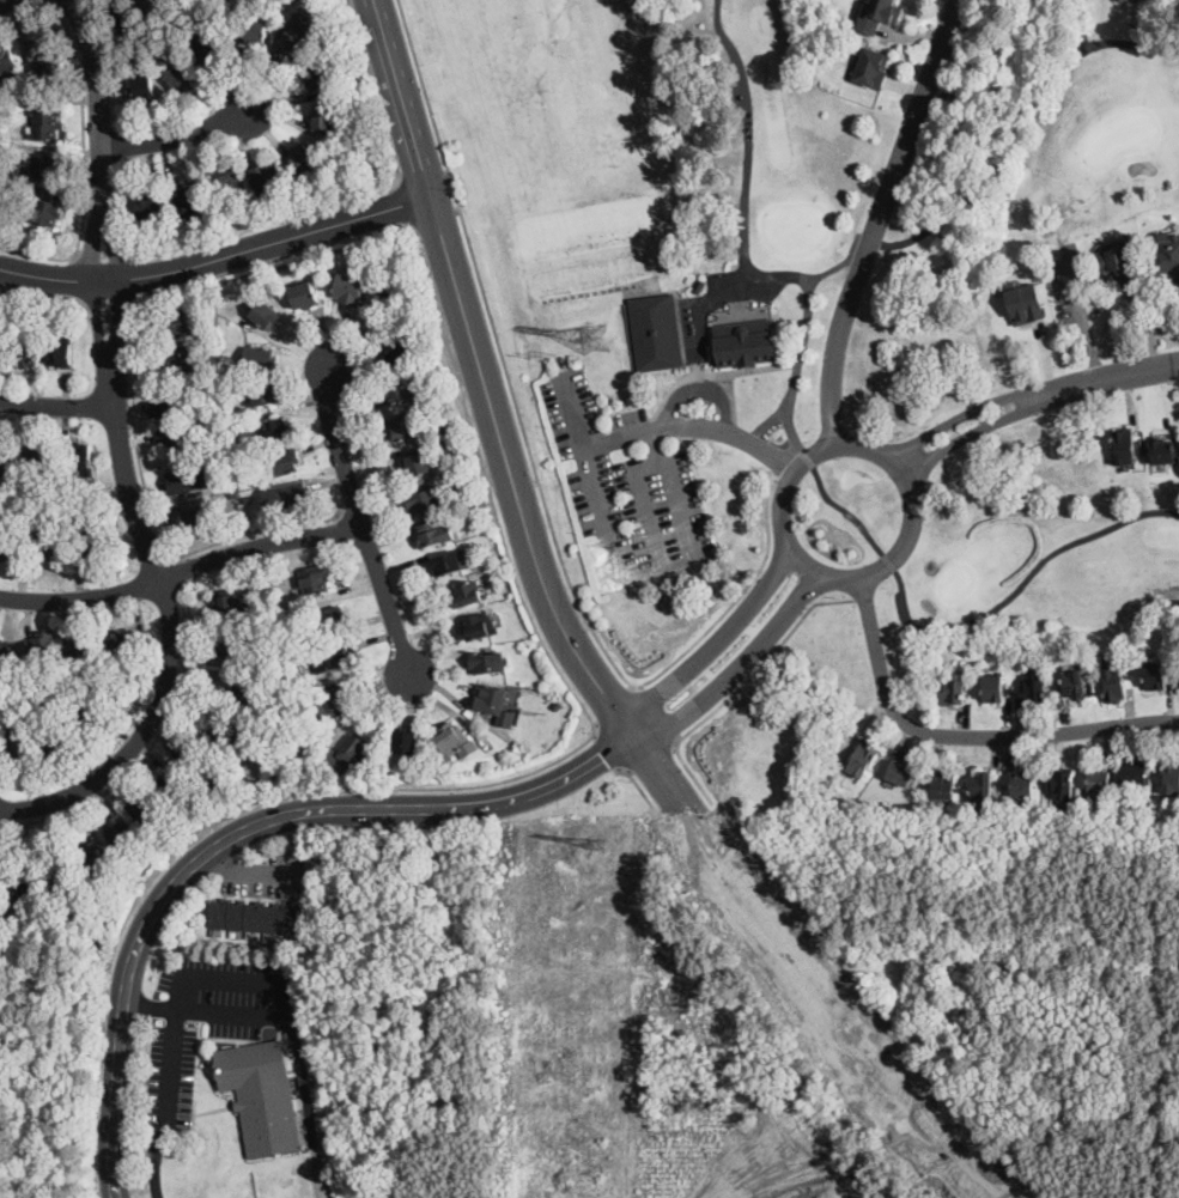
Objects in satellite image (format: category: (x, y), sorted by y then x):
road: (7, 2)
building: (154, 4)
building: (124, 12)
building: (879, 13)
building: (182, 22)
road: (1081, 24)
building: (297, 30)
building: (255, 32)
building: (39, 44)
building: (211, 49)
building: (141, 51)
building: (6, 56)
building: (873, 66)
building: (51, 68)
building: (181, 75)
building: (316, 77)
building: (144, 87)
road: (400, 97)
building: (324, 116)
building: (44, 124)
road: (176, 135)
road: (747, 136)
building: (306, 158)
road: (85, 164)
building: (37, 169)
building: (340, 170)
road: (1001, 170)
building: (266, 177)
building: (229, 178)
road: (350, 199)
road: (403, 202)
building: (193, 205)
building: (147, 206)
building: (43, 212)
road: (882, 219)
park: (863, 236)
building: (1165, 257)
road: (218, 259)
road: (103, 260)
building: (1117, 267)
road: (134, 276)
building: (348, 288)
building: (304, 294)
building: (391, 294)
building: (1023, 302)
building: (266, 315)
building: (172, 324)
building: (656, 333)
power tower: (596, 339)
building: (746, 343)
building: (24, 349)
building: (397, 349)
building: (60, 351)
road: (502, 351)
power tower: (540, 354)
building: (260, 358)
building: (171, 361)
building: (400, 389)
road: (701, 390)
building: (265, 394)
road: (1033, 399)
building: (171, 402)
road: (55, 406)
building: (445, 425)
building: (405, 426)
building: (275, 430)
road: (733, 433)
building: (178, 434)
road: (622, 436)
building: (1124, 448)
building: (1162, 451)
road: (121, 455)
building: (6, 456)
building: (41, 457)
building: (79, 457)
building: (281, 462)
building: (215, 463)
building: (415, 463)
building: (187, 478)
road: (595, 482)
road: (487, 486)
building: (30, 488)
parking lot: (627, 488)
building: (233, 493)
building: (284, 494)
road: (673, 495)
building: (464, 497)
building: (248, 499)
building: (424, 499)
road: (650, 506)
road: (521, 517)
building: (192, 518)
road: (154, 519)
road: (361, 523)
building: (433, 533)
road: (911, 536)
building: (92, 539)
building: (47, 542)
building: (11, 546)
building: (446, 562)
road: (889, 562)
road: (176, 572)
road: (182, 572)
building: (315, 579)
building: (468, 594)
road: (736, 597)
building: (230, 603)
building: (272, 613)
building: (330, 618)
building: (478, 626)
road: (716, 639)
building: (121, 641)
building: (231, 644)
building: (41, 646)
building: (271, 646)
building: (83, 649)
building: (5, 656)
building: (330, 658)
building: (487, 661)
road: (739, 662)
road: (756, 668)
building: (297, 669)
building: (1155, 675)
building: (1075, 683)
building: (1114, 683)
building: (992, 687)
building: (954, 688)
building: (1033, 688)
building: (243, 691)
building: (330, 701)
building: (496, 704)
building: (557, 706)
road: (616, 709)
power tower: (541, 713)
road: (655, 714)
building: (89, 720)
road: (964, 737)
building: (242, 738)
building: (406, 740)
building: (455, 740)
building: (17, 743)
building: (51, 743)
road: (147, 750)
road: (607, 753)
building: (348, 755)
road: (651, 758)
building: (862, 758)
building: (201, 761)
building: (1136, 772)
building: (901, 773)
building: (1171, 777)
building: (1061, 782)
building: (1099, 782)
building: (1022, 784)
road: (639, 786)
building: (982, 787)
building: (943, 790)
building: (175, 791)
building: (142, 808)
building: (843, 810)
building: (955, 814)
building: (1110, 815)
building: (166, 827)
road: (207, 828)
building: (118, 832)
road: (243, 832)
power tower: (594, 841)
building: (92, 861)
road: (253, 870)
parking lot: (266, 875)
building: (61, 876)
building: (22, 889)
building: (256, 918)
road: (233, 978)
road: (151, 1007)
parking lot: (211, 1018)
building: (261, 1095)
road: (305, 1108)
road: (154, 1160)

